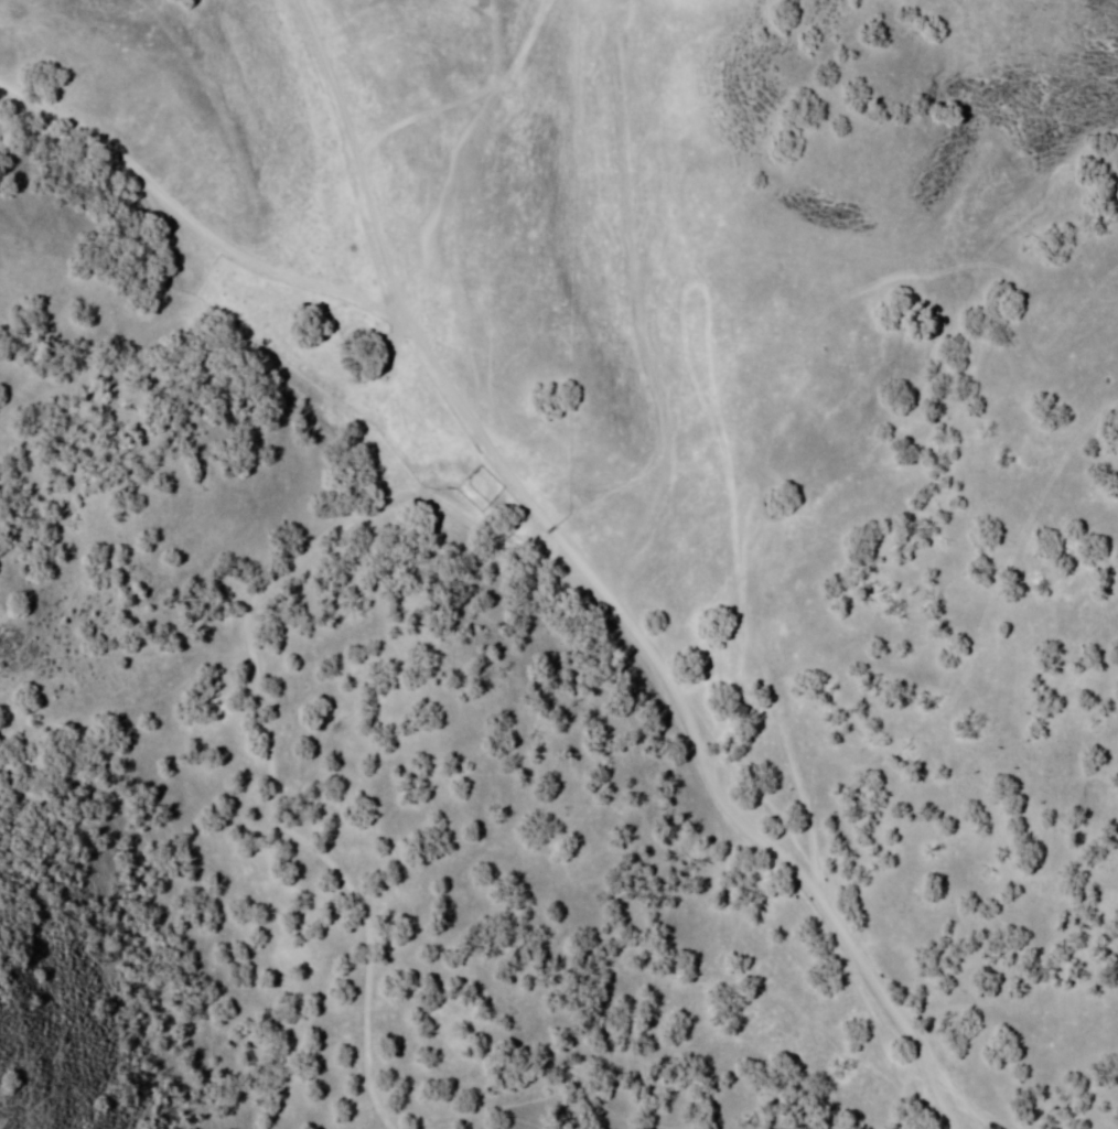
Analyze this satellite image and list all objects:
road: (378, 276)
road: (572, 527)

